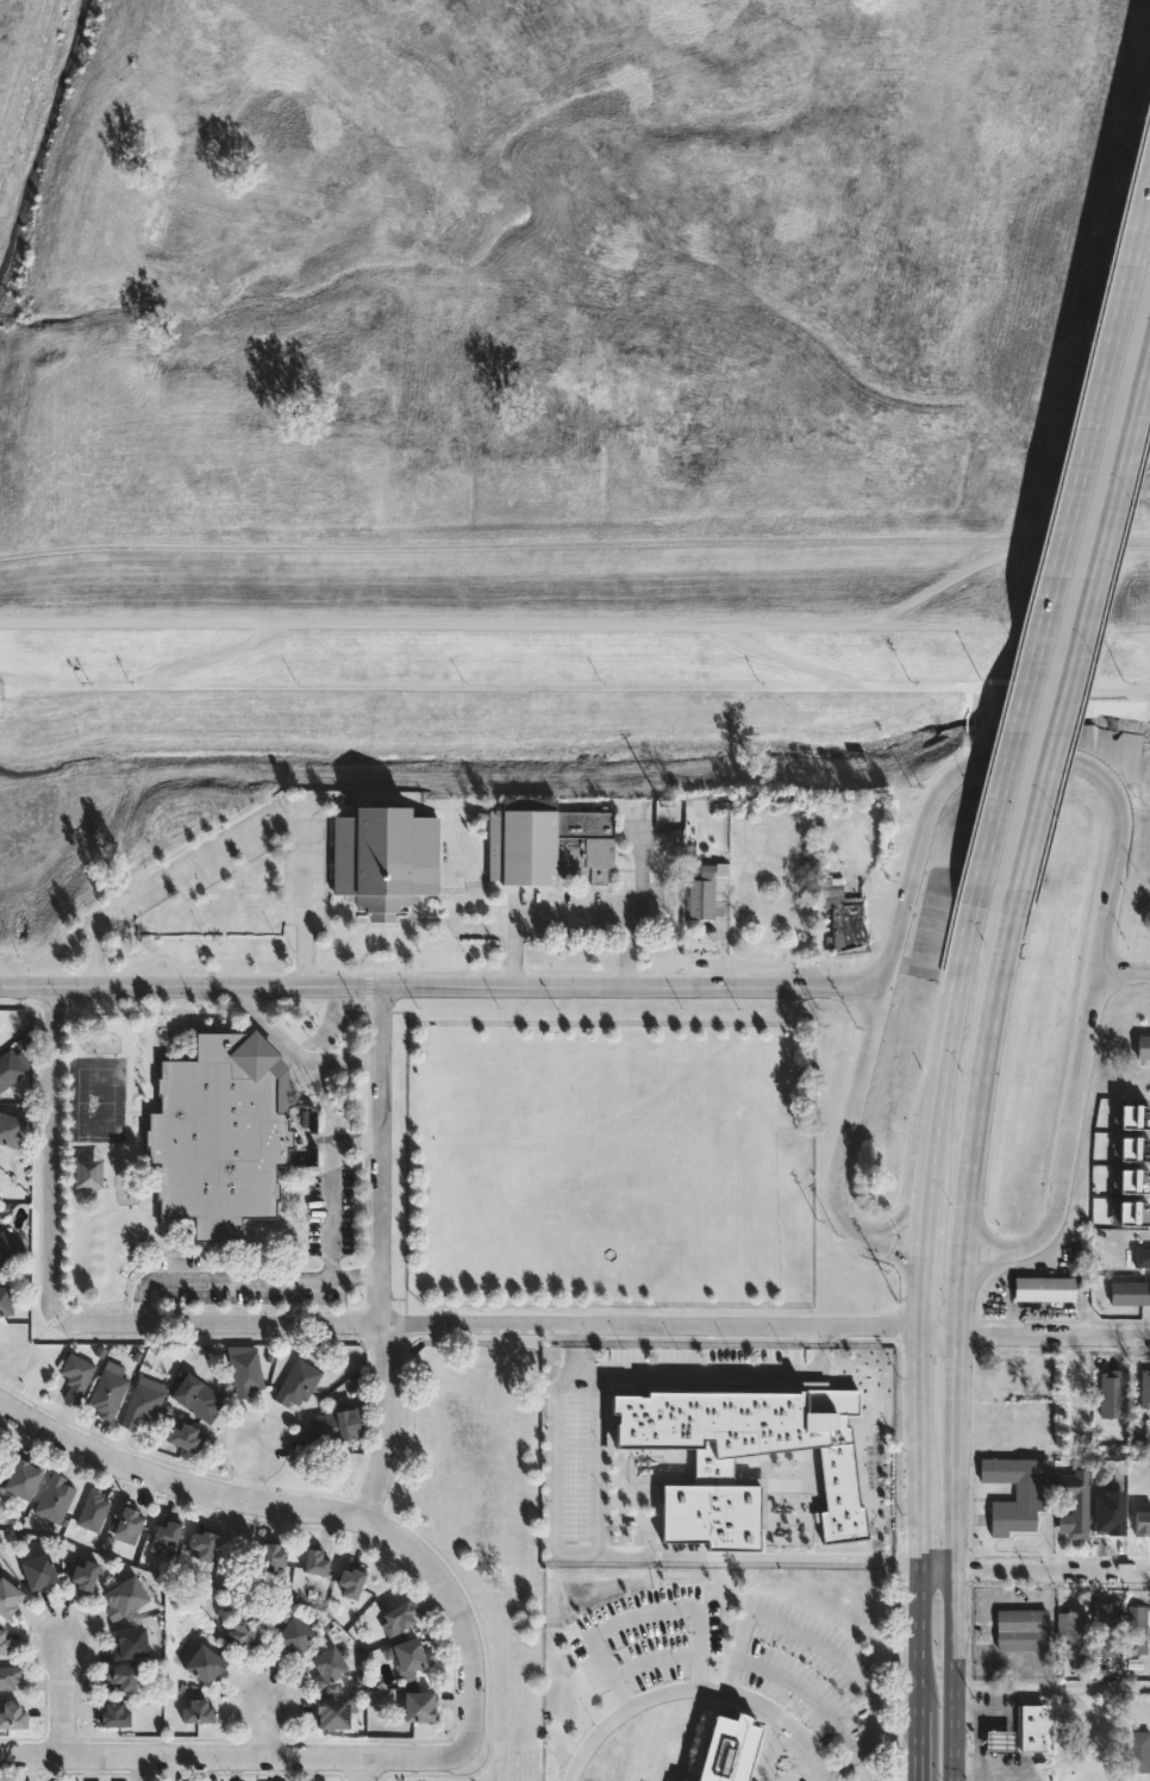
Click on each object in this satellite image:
park: (567, 402)
road: (1063, 538)
road: (574, 544)
road: (944, 580)
road: (431, 623)
road: (1082, 635)
road: (773, 652)
road: (211, 654)
road: (532, 686)
road: (1069, 688)
road: (1018, 765)
road: (246, 840)
building: (546, 842)
building: (382, 858)
building: (793, 861)
building: (710, 894)
building: (752, 902)
building: (802, 908)
building: (855, 917)
road: (1125, 968)
road: (446, 987)
road: (951, 1027)
building: (1145, 1046)
road: (295, 1052)
building: (10, 1068)
road: (981, 1094)
road: (860, 1112)
building: (1131, 1114)
road: (1071, 1124)
building: (10, 1129)
building: (227, 1133)
building: (1132, 1146)
road: (54, 1155)
building: (87, 1171)
road: (925, 1177)
building: (1132, 1177)
building: (1131, 1212)
road: (896, 1223)
road: (919, 1232)
road: (983, 1235)
building: (8, 1248)
road: (890, 1249)
building: (1143, 1257)
road: (382, 1258)
road: (983, 1263)
road: (355, 1275)
road: (308, 1279)
building: (1046, 1288)
building: (1131, 1291)
road: (915, 1298)
building: (6, 1301)
road: (960, 1304)
park: (640, 1307)
road: (485, 1326)
road: (937, 1332)
road: (1054, 1335)
road: (575, 1336)
road: (819, 1338)
building: (246, 1373)
building: (76, 1375)
building: (298, 1382)
building: (1146, 1388)
building: (1114, 1391)
building: (107, 1393)
building: (196, 1395)
building: (142, 1405)
road: (918, 1410)
building: (330, 1426)
building: (186, 1437)
road: (956, 1449)
road: (594, 1468)
road: (252, 1470)
building: (713, 1471)
building: (24, 1480)
building: (1015, 1492)
building: (55, 1501)
building: (1076, 1505)
building: (1113, 1510)
building: (93, 1511)
road: (312, 1516)
road: (638, 1519)
building: (1144, 1519)
building: (127, 1520)
road: (919, 1524)
building: (1112, 1531)
building: (167, 1533)
building: (202, 1545)
building: (271, 1555)
road: (743, 1556)
road: (906, 1560)
building: (315, 1561)
road: (1033, 1566)
building: (40, 1571)
building: (83, 1576)
building: (351, 1581)
building: (7, 1598)
building: (125, 1598)
building: (755, 1610)
building: (401, 1614)
road: (643, 1614)
building: (1136, 1619)
building: (1104, 1623)
building: (1071, 1625)
building: (1020, 1630)
building: (244, 1633)
building: (294, 1637)
parking lot: (650, 1637)
building: (4, 1643)
building: (130, 1643)
road: (824, 1649)
building: (413, 1655)
road: (654, 1660)
building: (206, 1664)
building: (330, 1666)
road: (920, 1670)
road: (954, 1673)
parking lot: (808, 1674)
building: (8, 1677)
building: (125, 1679)
road: (1051, 1687)
road: (701, 1691)
road: (807, 1693)
road: (64, 1695)
building: (421, 1707)
road: (979, 1708)
building: (199, 1712)
building: (335, 1714)
building: (115, 1716)
building: (13, 1718)
road: (265, 1727)
building: (998, 1737)
gas station: (998, 1737)
building: (1031, 1738)
building: (729, 1749)
building: (1137, 1750)
road: (236, 1756)
road: (1001, 1766)
road: (363, 1769)
road: (994, 1773)

